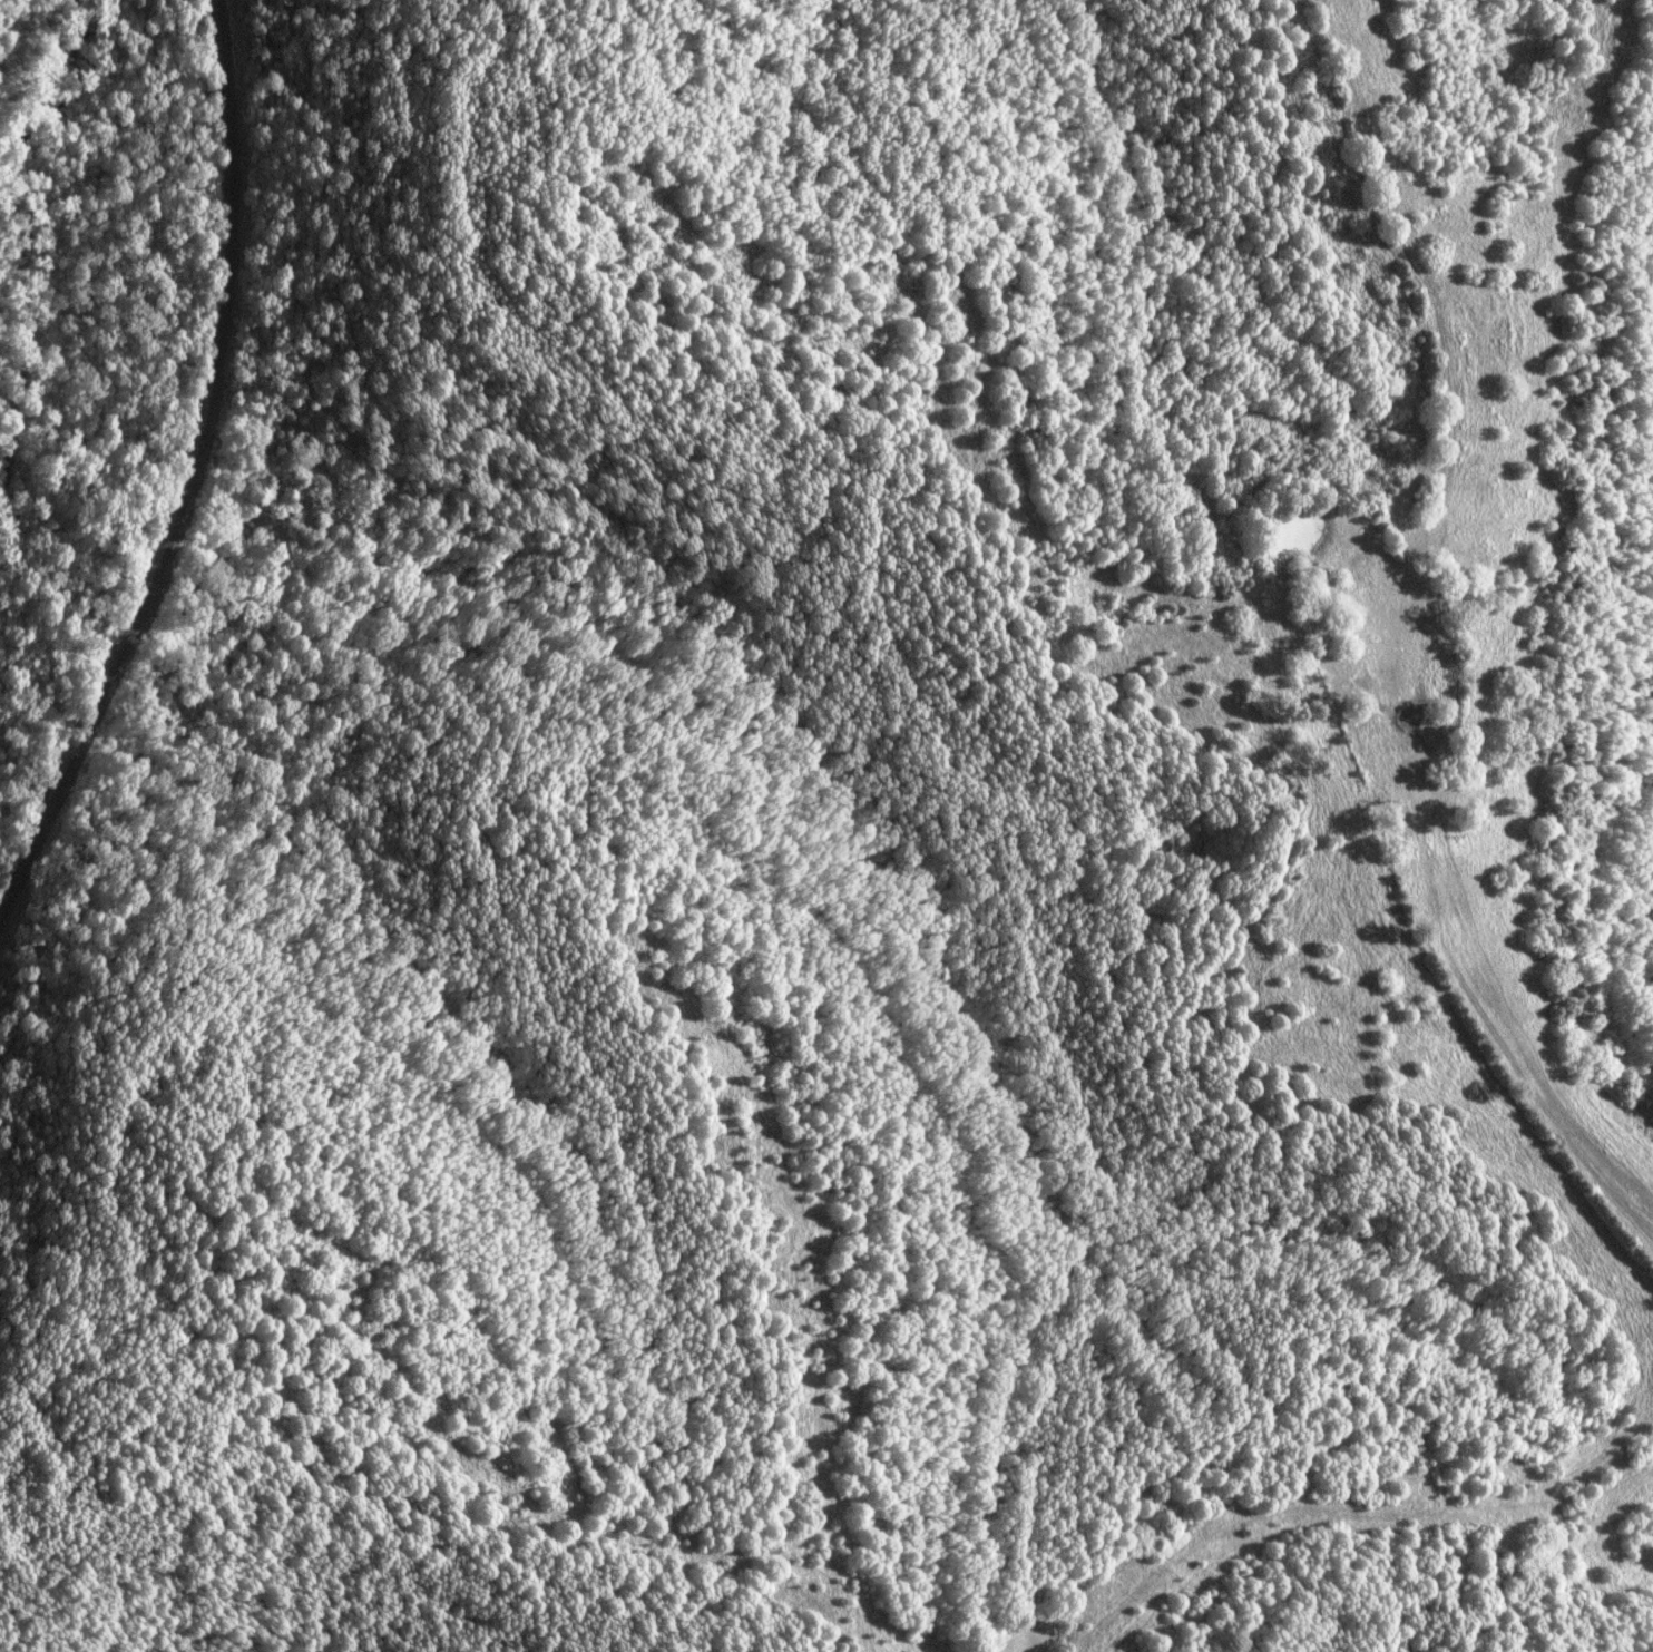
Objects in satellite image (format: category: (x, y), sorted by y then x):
railway: (168, 436)

